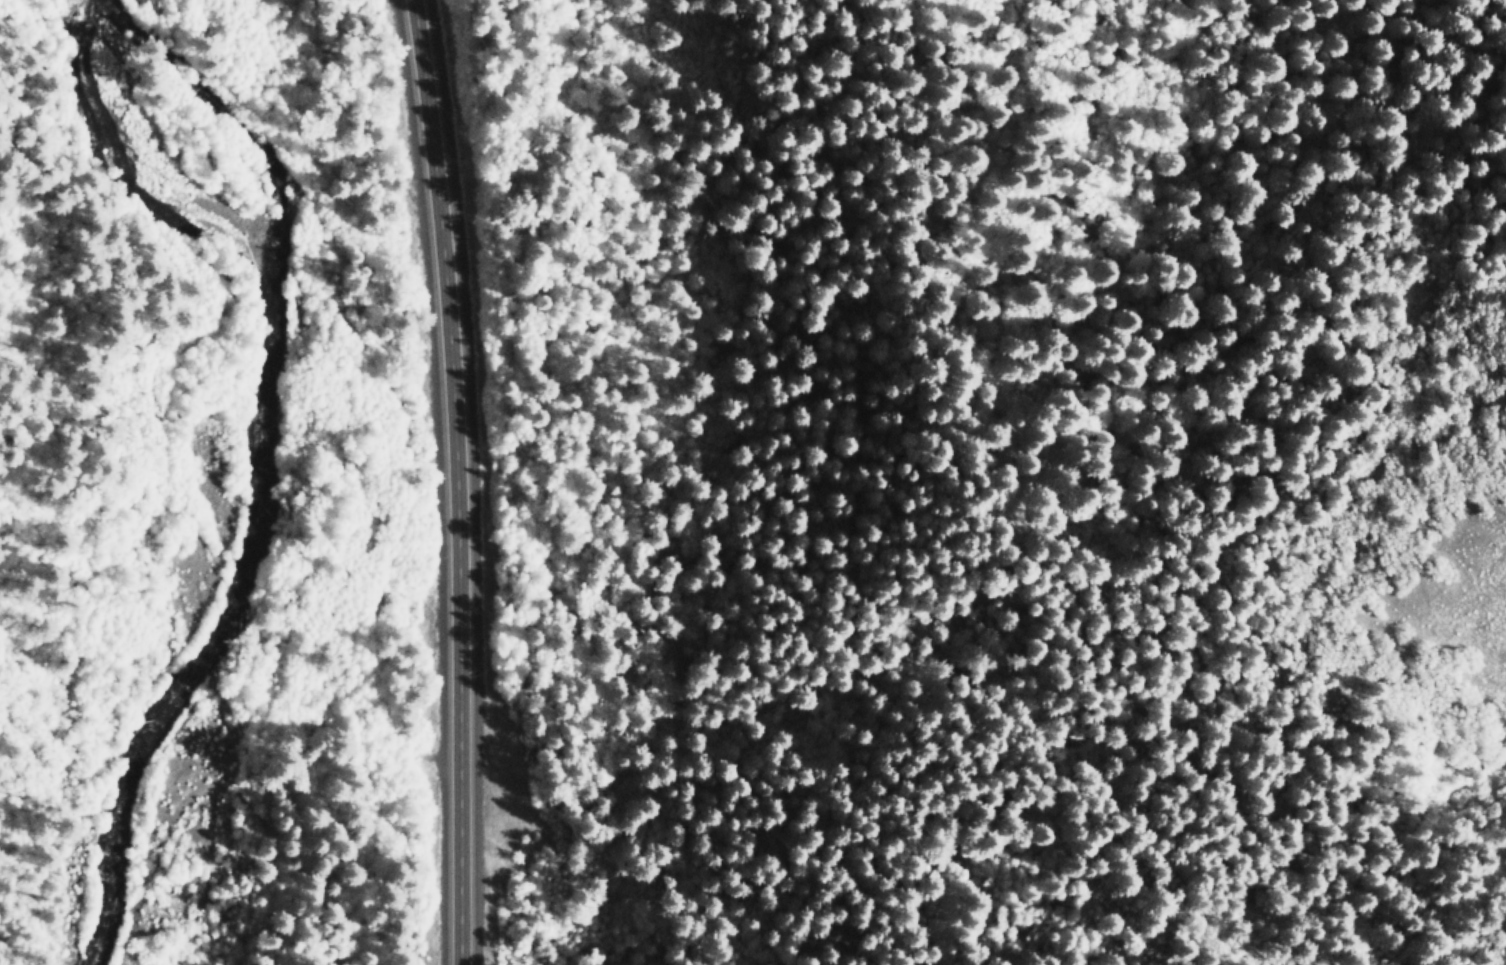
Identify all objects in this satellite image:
river: (199, 454)
road: (462, 481)

